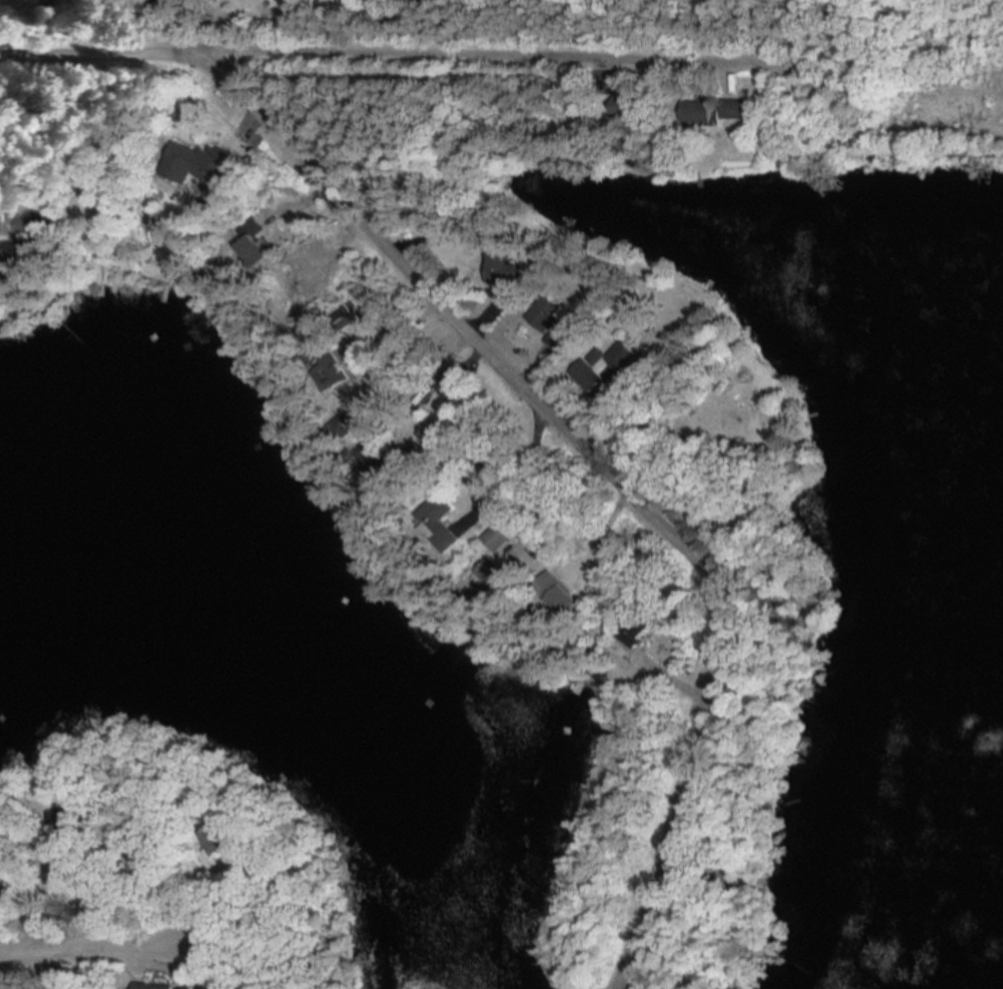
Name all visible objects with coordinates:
road: (412, 55)
building: (623, 106)
building: (732, 110)
building: (693, 112)
building: (199, 167)
building: (43, 227)
building: (251, 249)
building: (501, 269)
building: (548, 324)
building: (606, 373)
road: (603, 474)
building: (494, 540)
building: (491, 573)
building: (600, 584)
building: (553, 595)
building: (634, 631)
building: (214, 840)
building: (1, 903)
road: (90, 949)
building: (156, 987)

